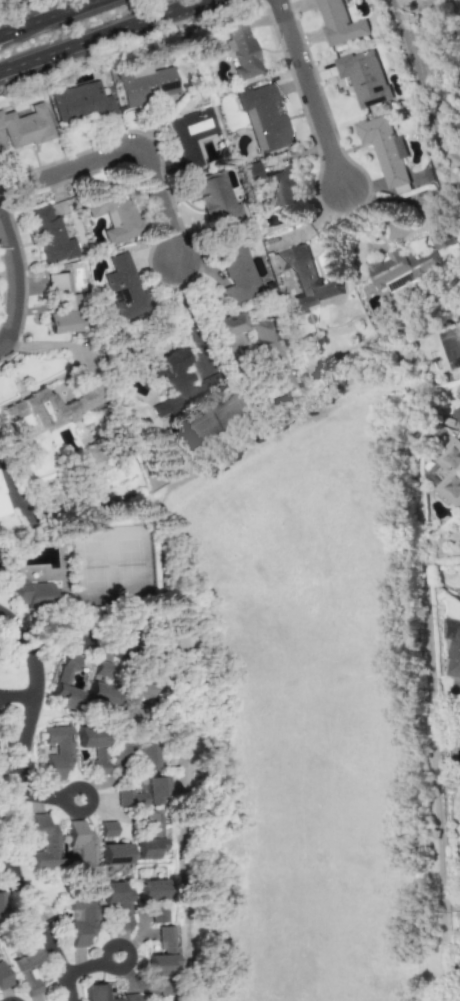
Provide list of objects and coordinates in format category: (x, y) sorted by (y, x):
road: (179, 4)
road: (54, 16)
building: (340, 23)
road: (5, 34)
road: (84, 39)
building: (243, 49)
building: (364, 77)
building: (146, 83)
road: (420, 83)
road: (307, 92)
building: (81, 102)
building: (264, 118)
building: (26, 126)
road: (127, 133)
building: (192, 134)
building: (385, 149)
building: (284, 186)
building: (215, 198)
building: (116, 215)
building: (51, 235)
building: (411, 263)
building: (238, 274)
road: (13, 280)
building: (308, 281)
building: (124, 287)
building: (63, 305)
road: (57, 344)
building: (261, 346)
building: (174, 383)
building: (49, 409)
building: (457, 413)
building: (450, 471)
building: (2, 503)
building: (32, 593)
road: (75, 640)
building: (453, 649)
building: (102, 669)
building: (66, 683)
road: (17, 694)
building: (99, 694)
building: (130, 699)
building: (93, 746)
building: (57, 751)
building: (117, 751)
building: (142, 755)
building: (0, 771)
building: (142, 792)
road: (46, 793)
road: (11, 804)
building: (106, 828)
building: (148, 837)
building: (44, 841)
building: (82, 844)
building: (113, 853)
road: (5, 860)
building: (148, 889)
building: (116, 902)
building: (1, 903)
building: (156, 914)
building: (82, 917)
building: (162, 953)
road: (91, 964)
building: (26, 967)
building: (3, 977)
building: (104, 994)

